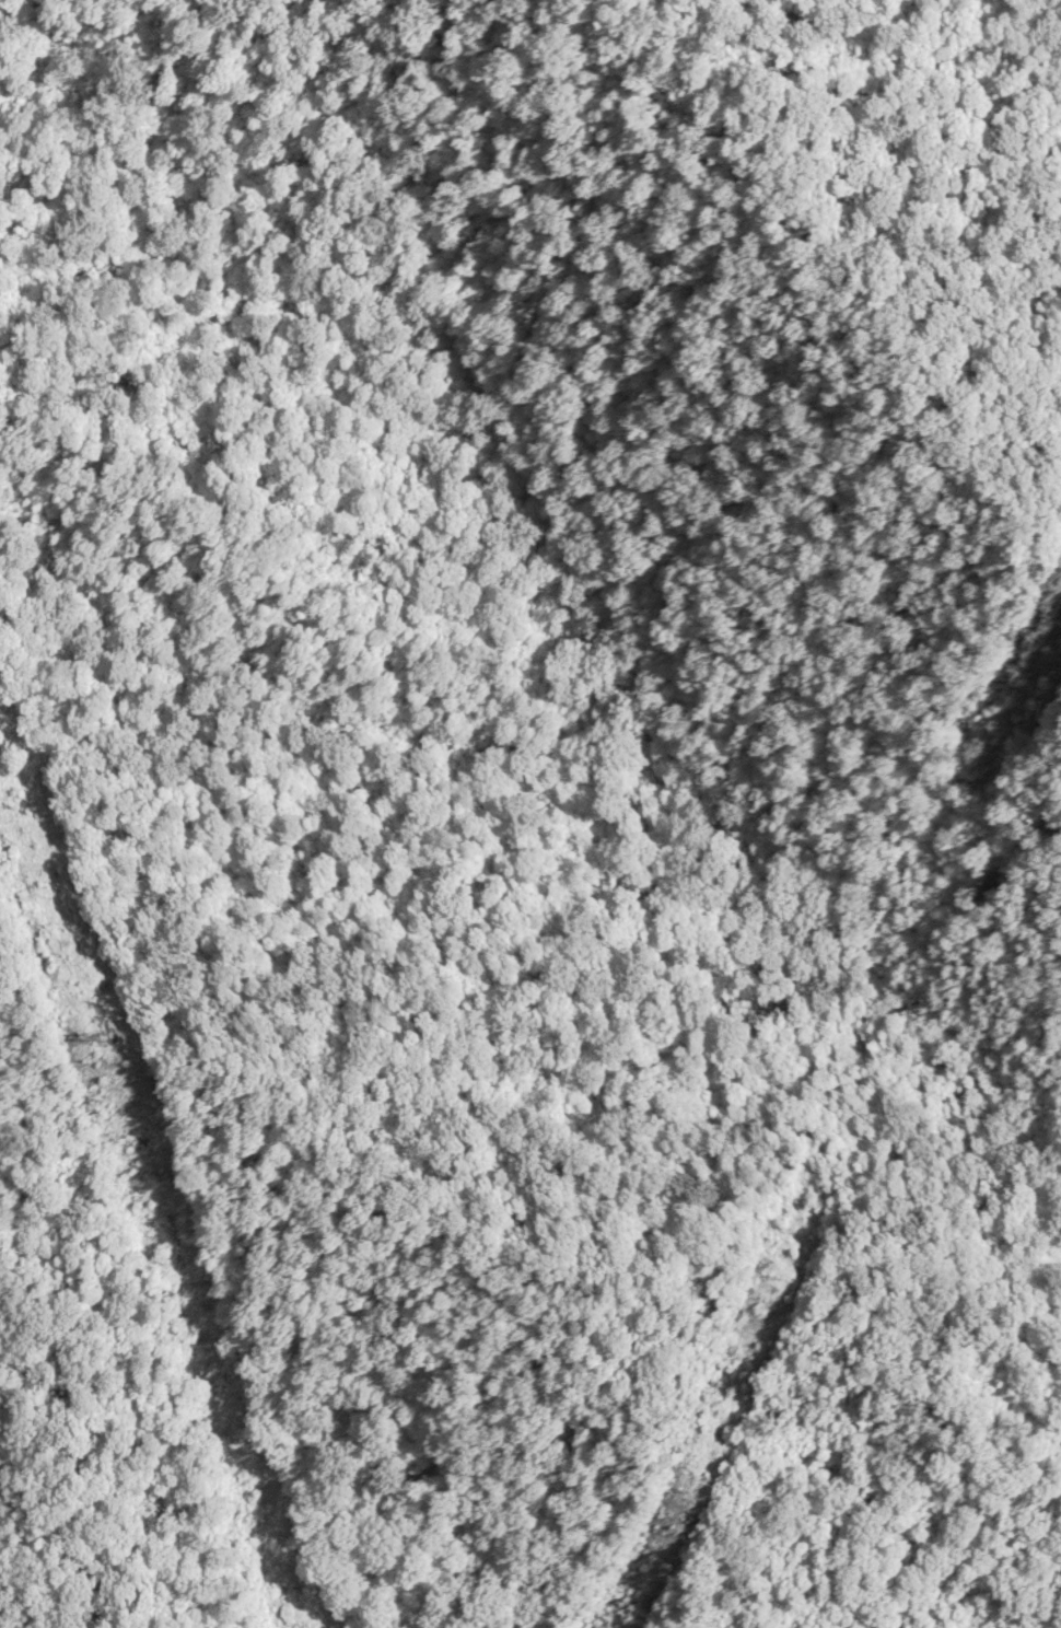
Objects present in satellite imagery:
power tower: (93, 1034)

